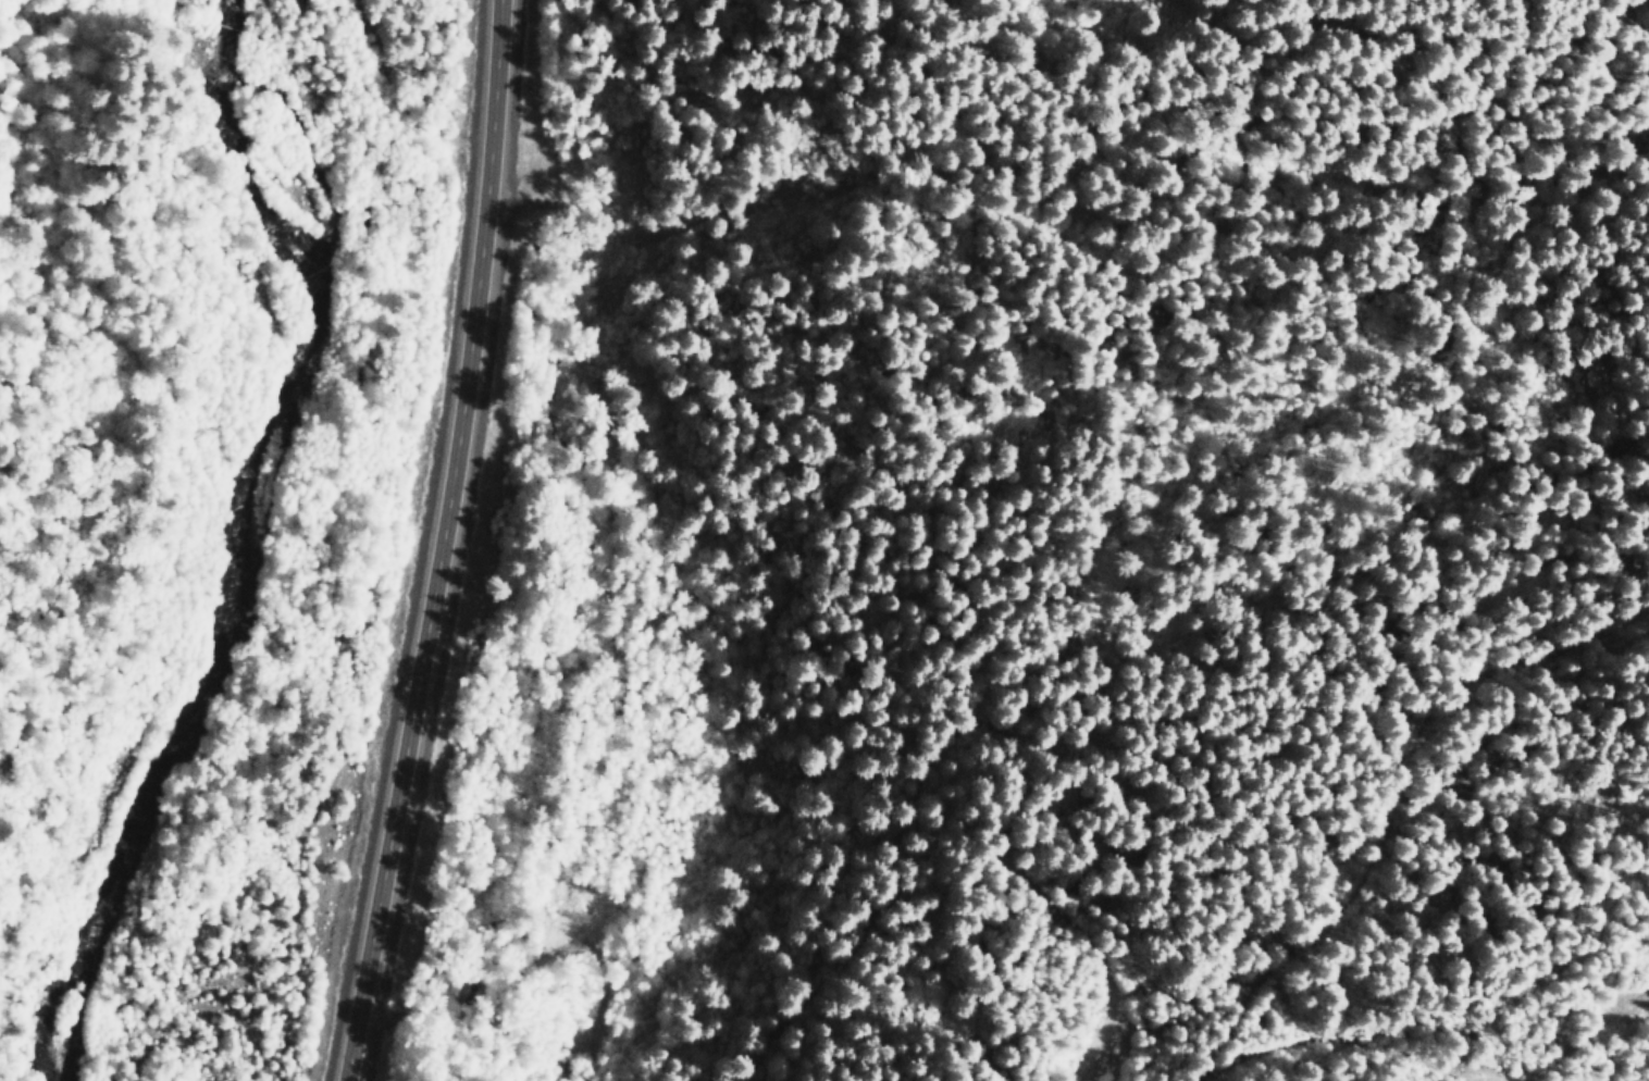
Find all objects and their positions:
river: (243, 542)
road: (445, 543)
road: (479, 986)
road: (1071, 1067)

